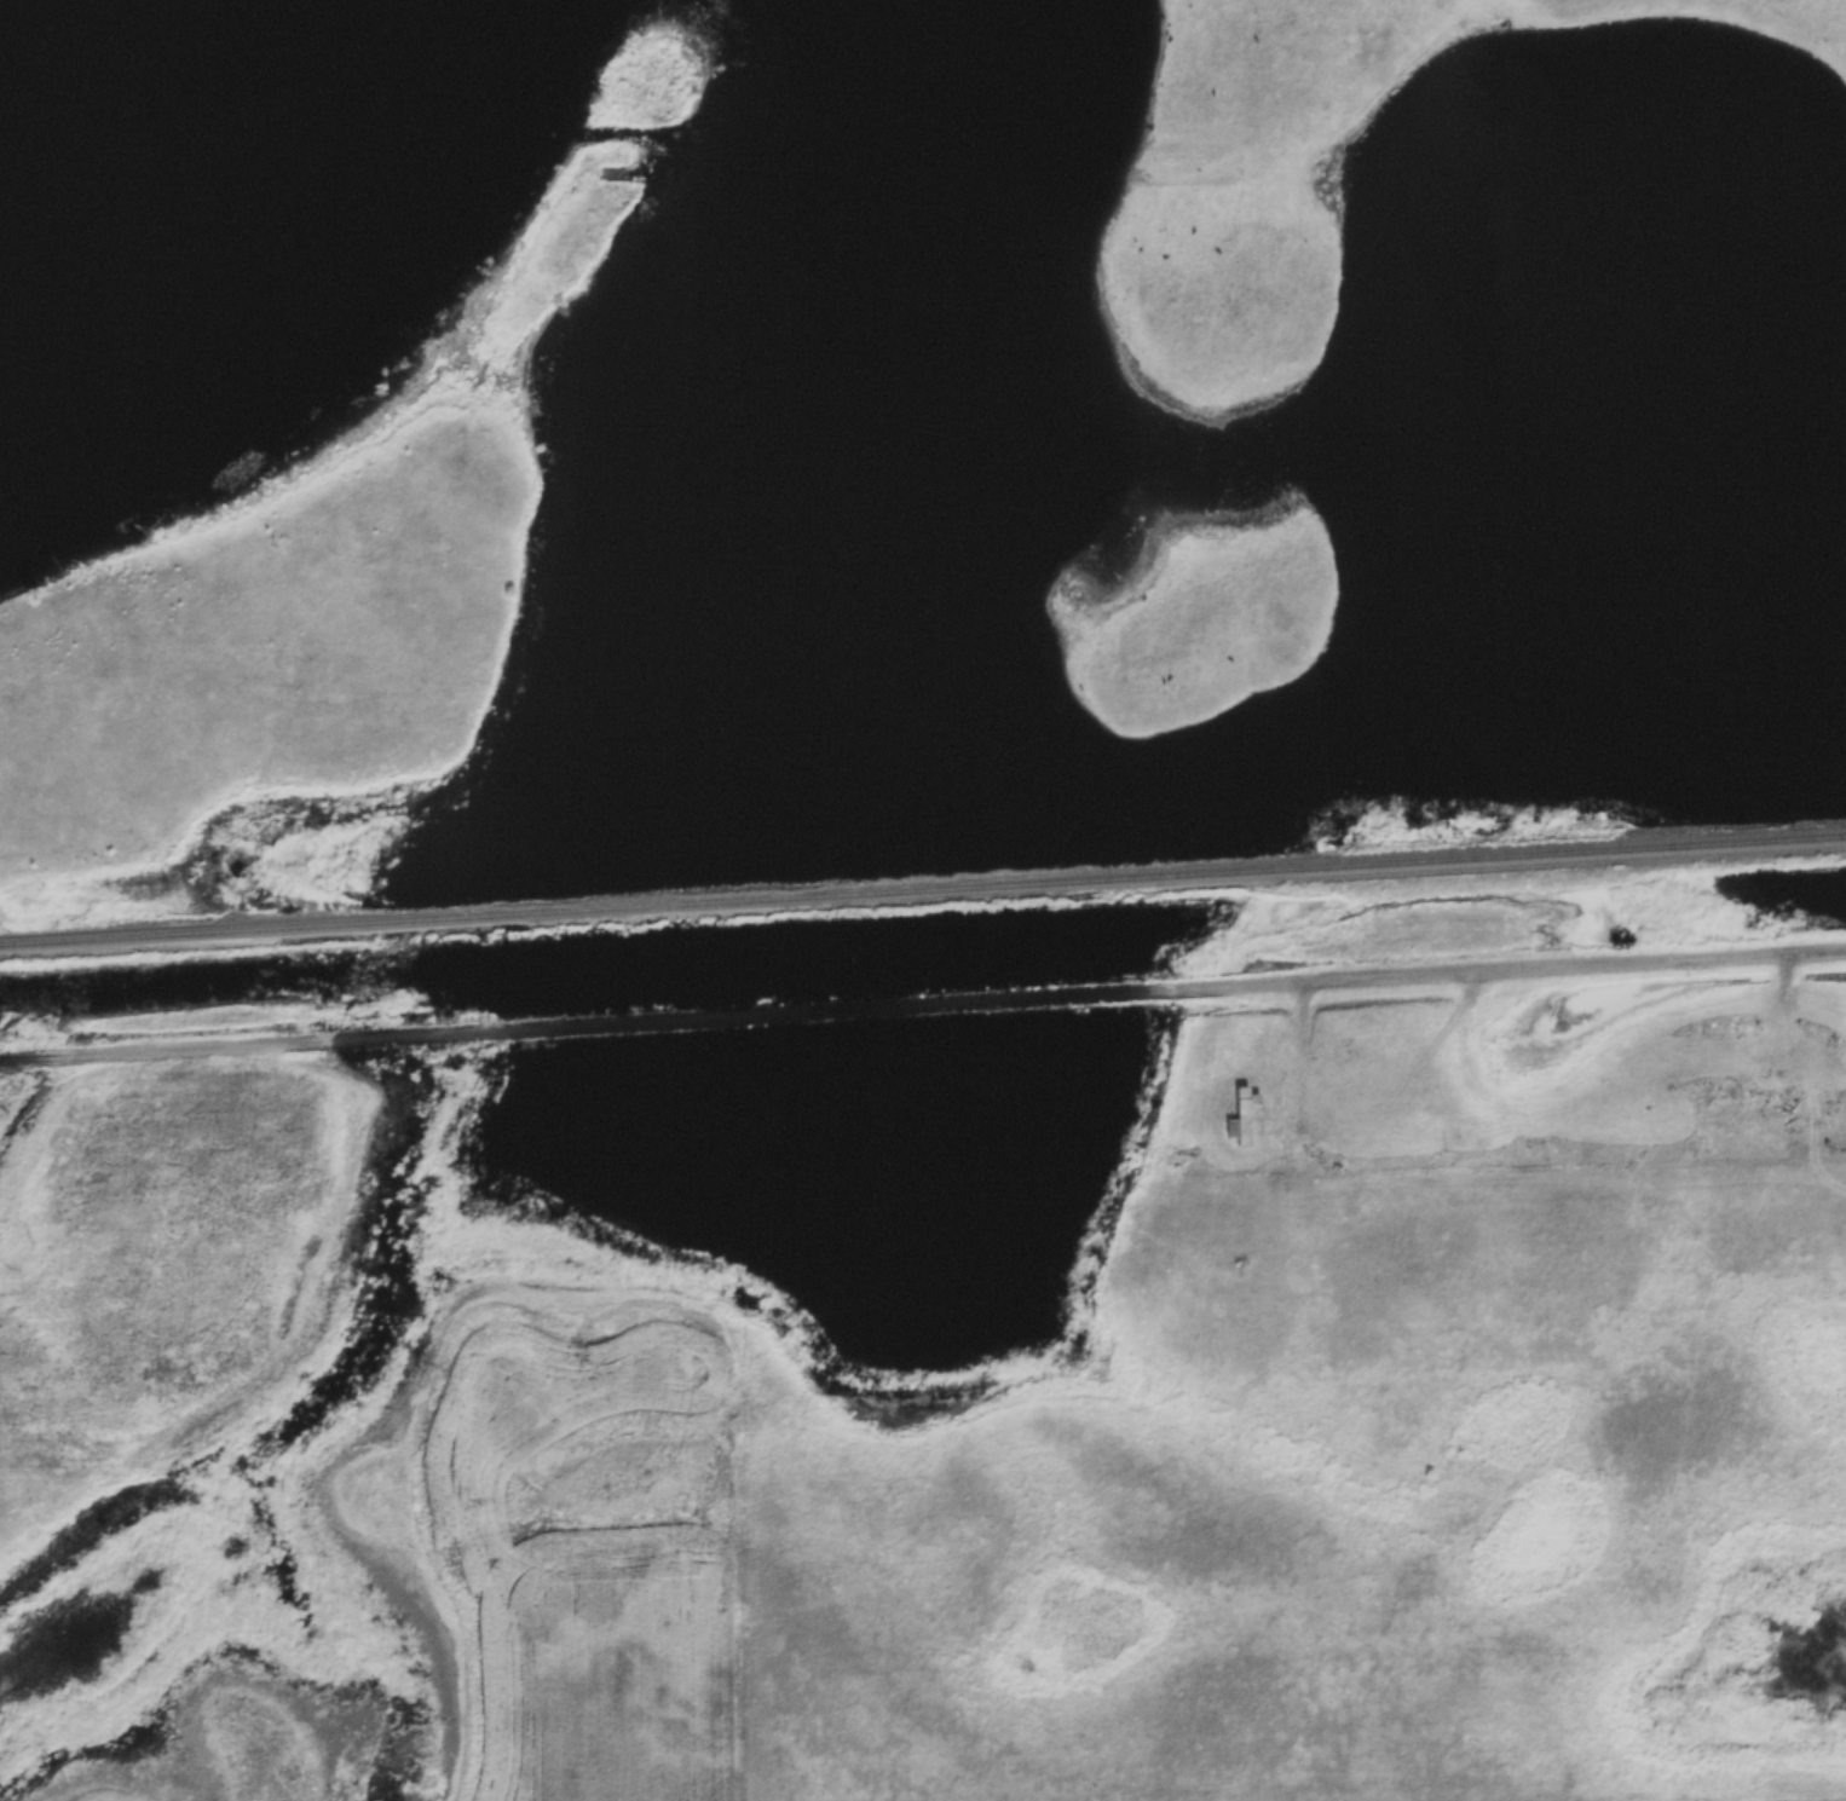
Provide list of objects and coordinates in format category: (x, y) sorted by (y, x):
railway: (923, 888)
road: (922, 1006)

